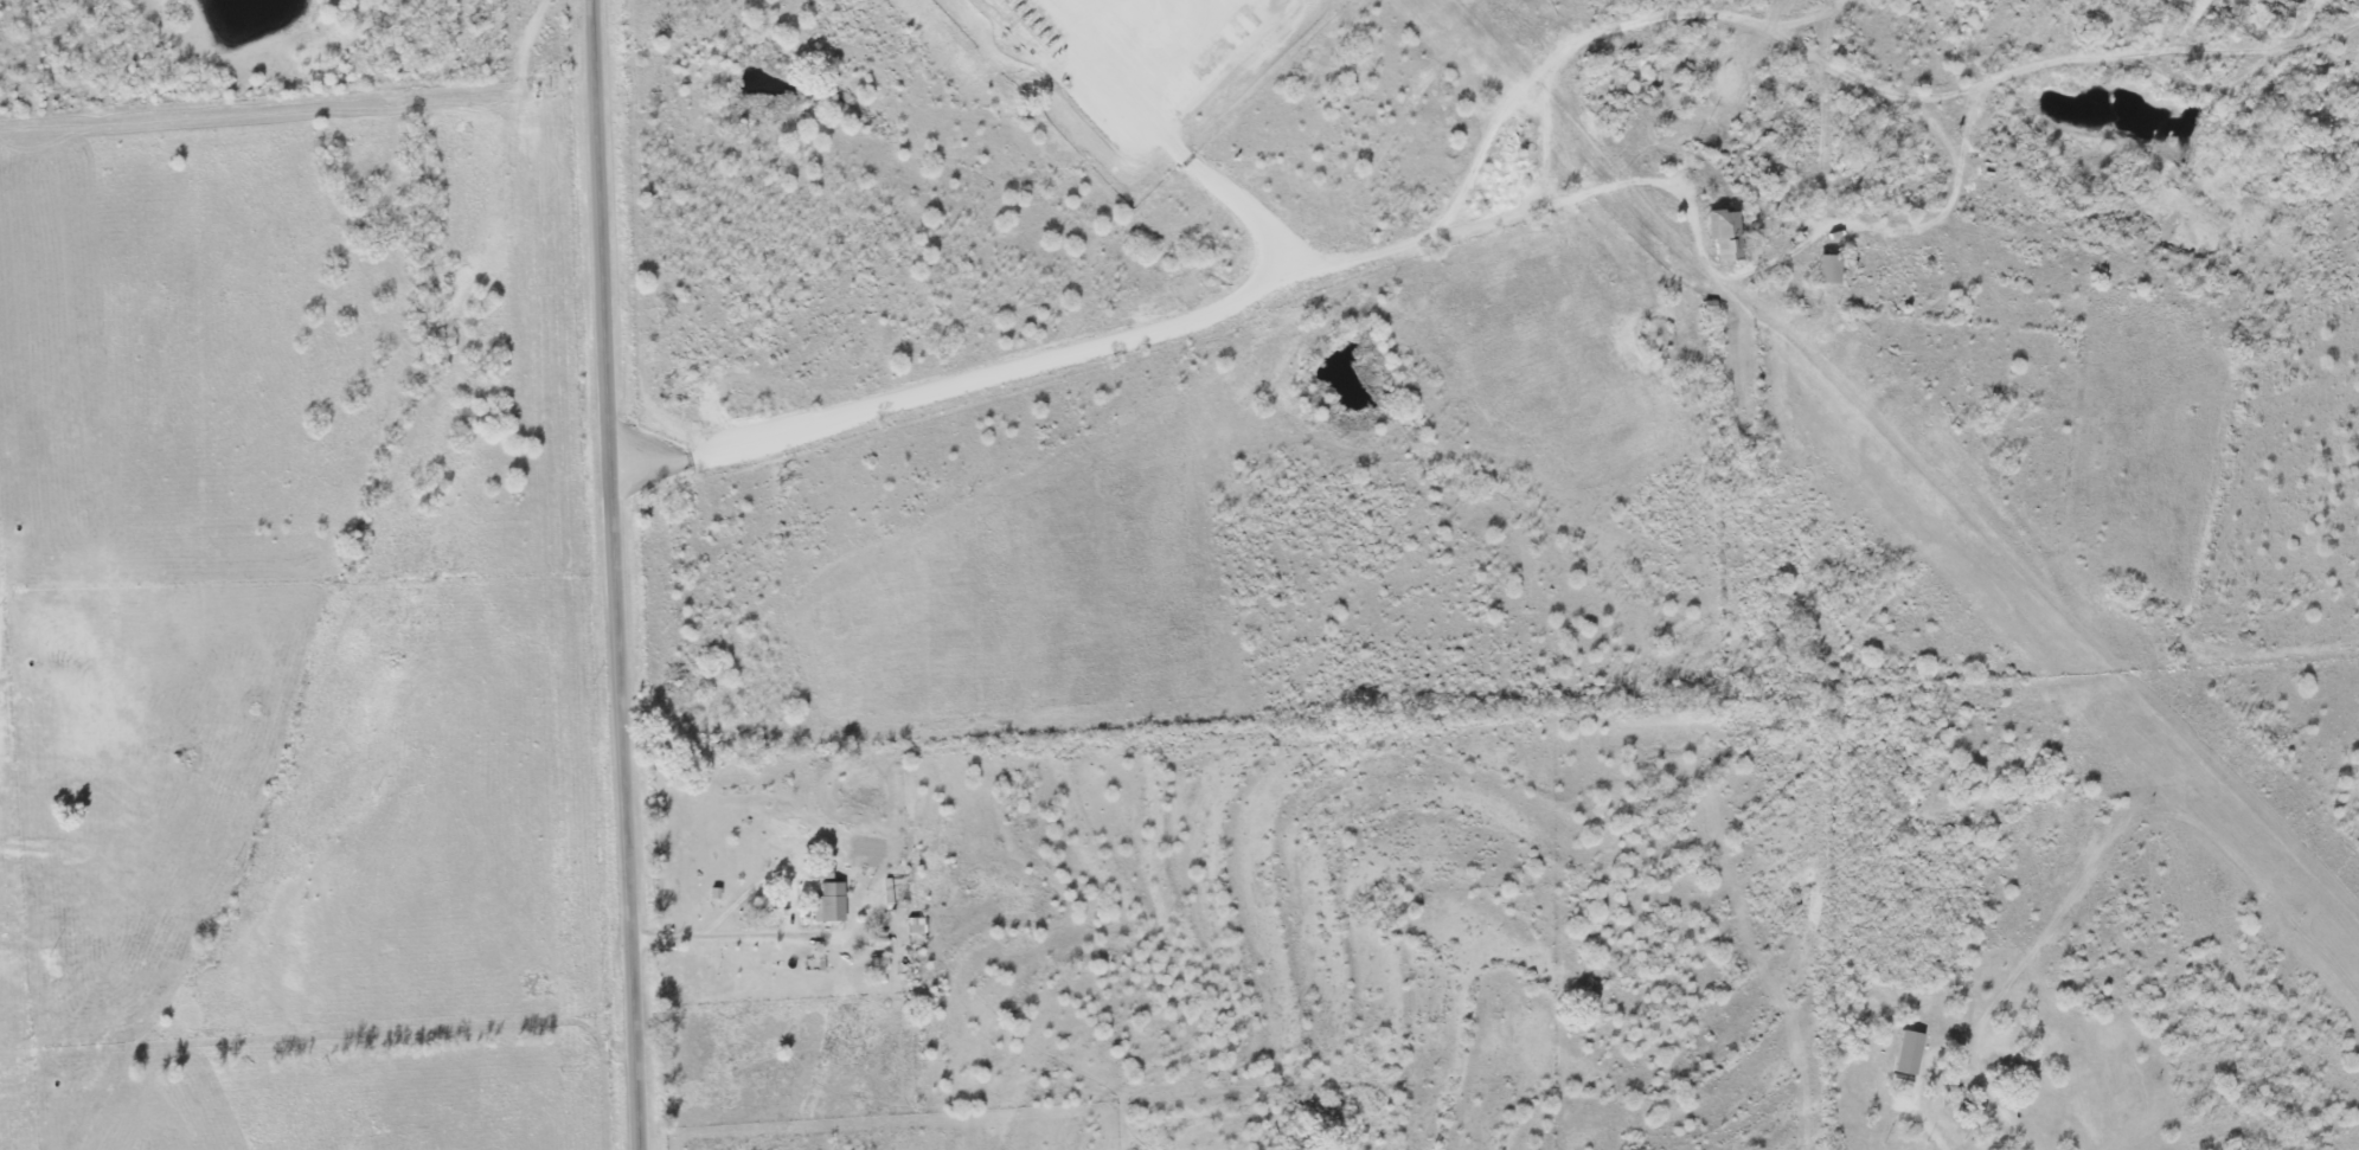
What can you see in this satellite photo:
road: (1692, 199)
building: (1722, 237)
building: (1826, 270)
road: (999, 435)
road: (613, 574)
building: (816, 874)
building: (827, 904)
building: (914, 926)
road: (784, 932)
building: (1905, 1054)
road: (1930, 1126)

